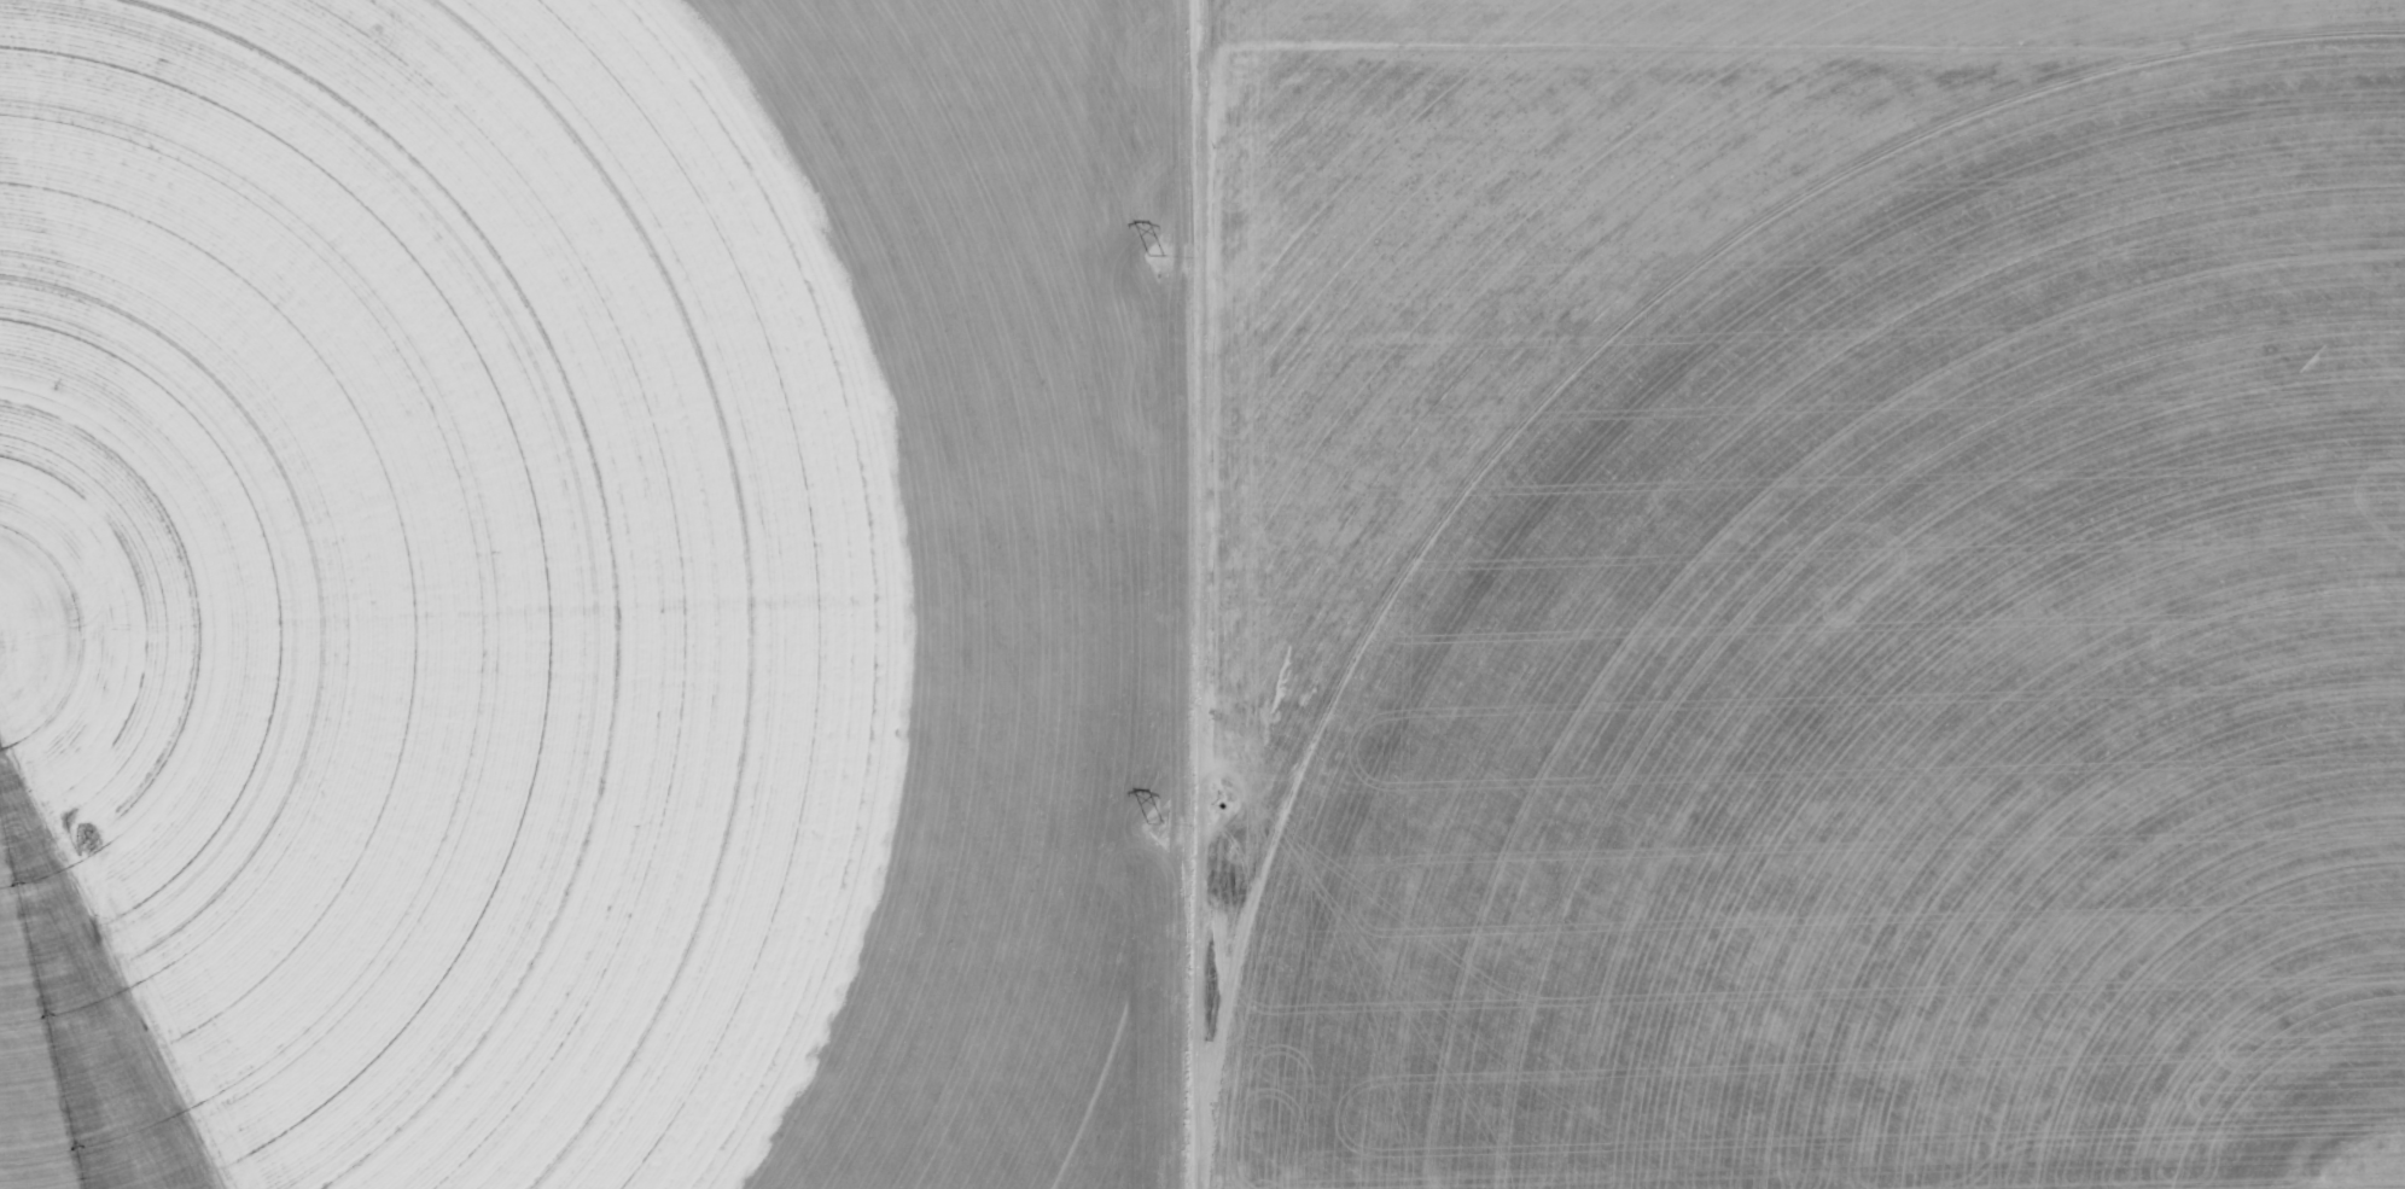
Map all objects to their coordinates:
power tower: (1158, 258)
road: (1117, 593)
road: (48, 759)
power tower: (1155, 822)

